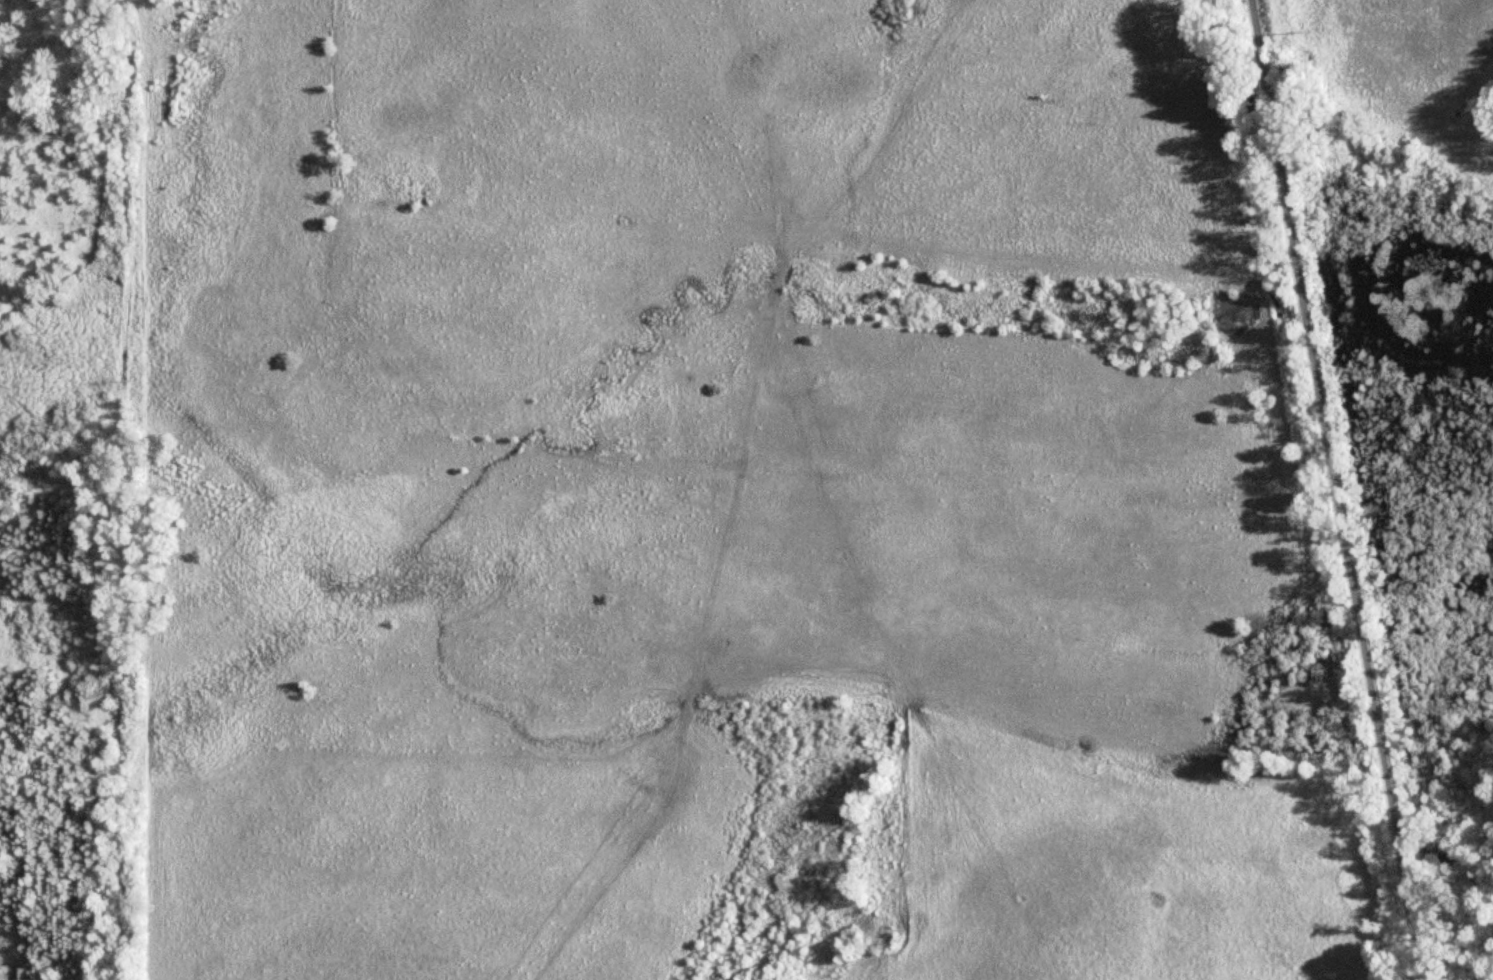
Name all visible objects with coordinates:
road: (1340, 489)

